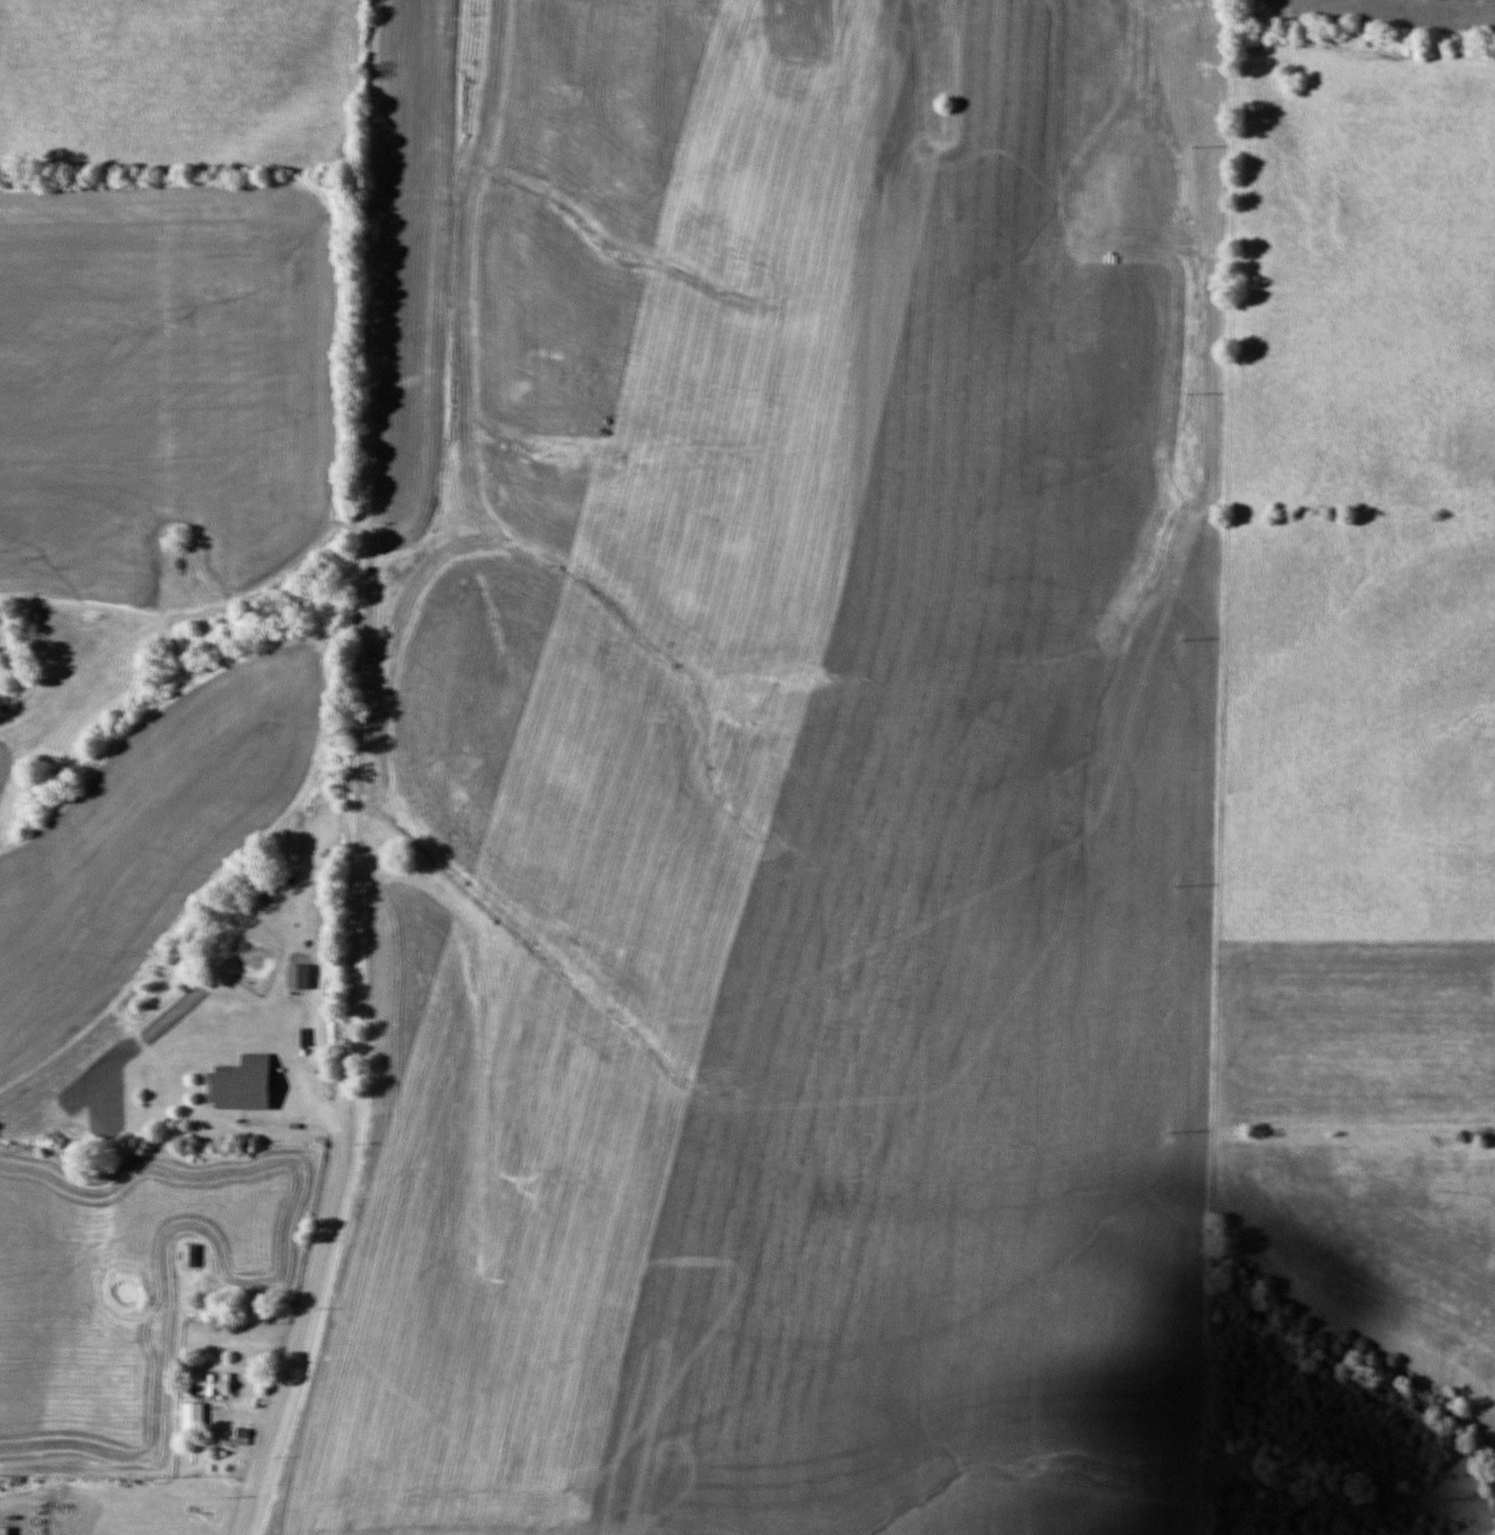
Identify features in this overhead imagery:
building: (298, 977)
building: (228, 1089)
building: (193, 1255)
road: (306, 1300)
building: (214, 1384)
building: (193, 1416)
building: (242, 1436)
building: (4, 1530)

